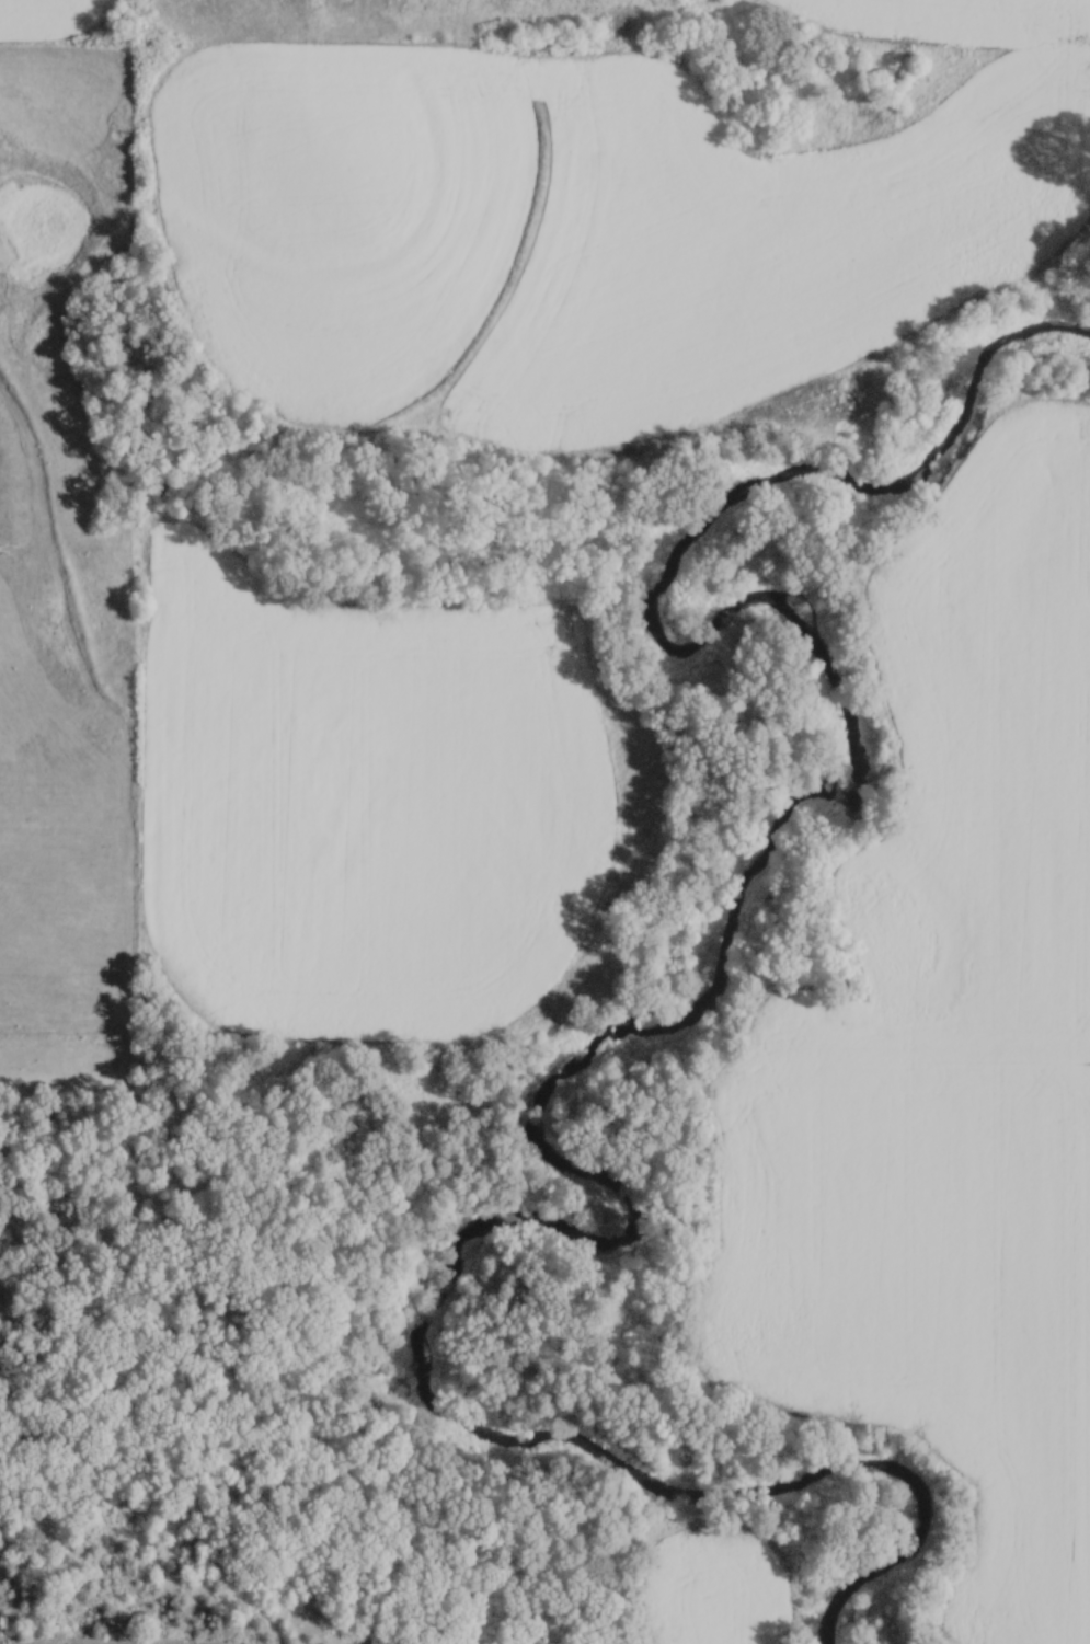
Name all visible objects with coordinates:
building: (879, 71)

